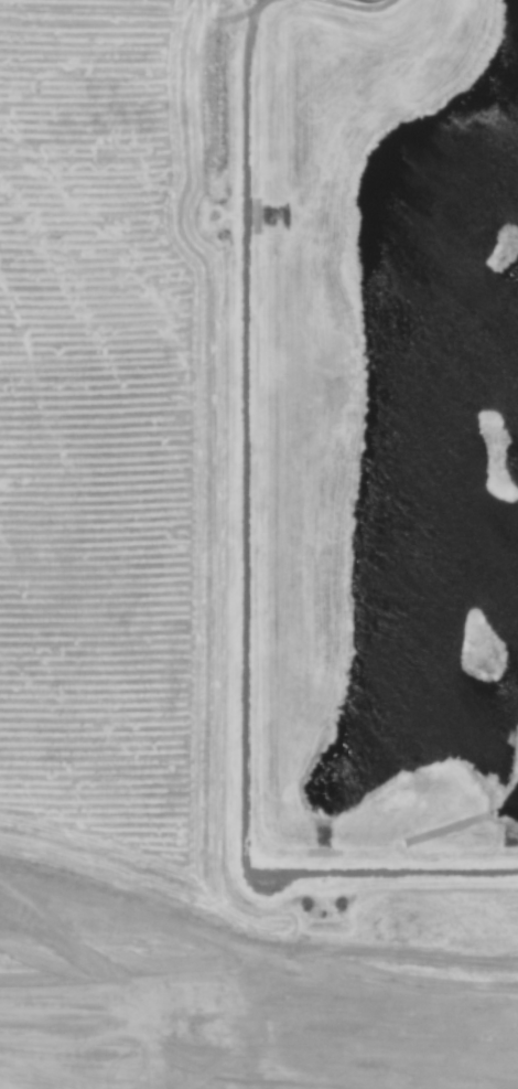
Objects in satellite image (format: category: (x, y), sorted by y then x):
road: (361, 3)
road: (244, 569)

